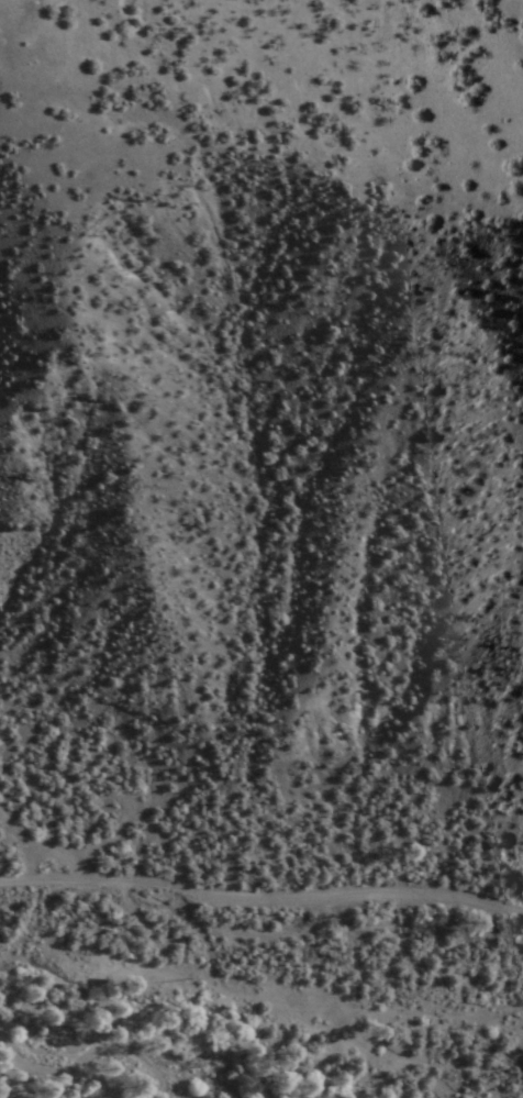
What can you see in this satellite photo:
road: (261, 927)

